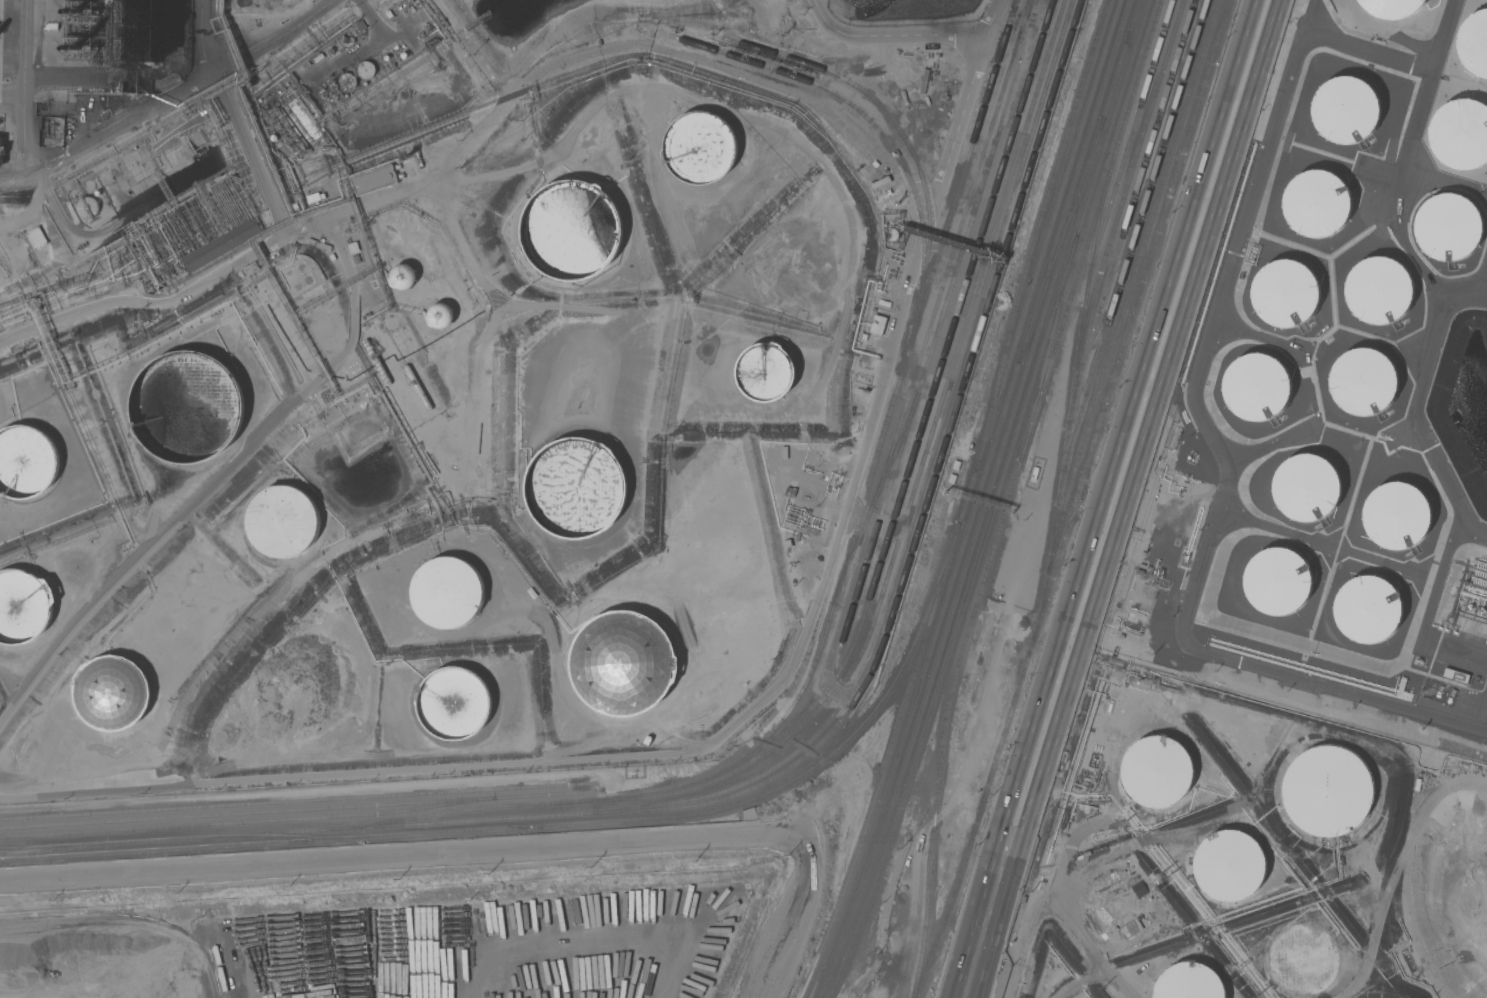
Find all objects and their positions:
railway: (1016, 2)
railway: (1029, 5)
building: (1390, 7)
building: (83, 11)
road: (881, 35)
road: (205, 39)
building: (1474, 43)
building: (84, 49)
building: (366, 70)
building: (346, 82)
road: (25, 86)
building: (328, 94)
road: (171, 98)
railway: (855, 108)
building: (1345, 111)
building: (1460, 135)
railway: (904, 137)
railway: (1129, 145)
building: (701, 148)
building: (0, 150)
road: (1405, 174)
railway: (1130, 177)
building: (374, 180)
road: (1447, 181)
building: (1316, 204)
railway: (1133, 205)
building: (86, 207)
railway: (1041, 220)
building: (1448, 228)
building: (572, 230)
building: (37, 238)
railway: (1134, 243)
railway: (1061, 244)
building: (221, 245)
railway: (955, 247)
building: (250, 269)
building: (403, 277)
railway: (1134, 277)
railway: (1034, 283)
railway: (1043, 284)
railway: (1053, 285)
railway: (1062, 287)
building: (1378, 290)
building: (1286, 294)
building: (442, 314)
railway: (940, 323)
building: (878, 324)
railway: (1050, 344)
building: (376, 362)
building: (765, 372)
building: (1362, 382)
railway: (946, 386)
building: (417, 387)
building: (1254, 387)
building: (185, 408)
railway: (1071, 415)
road: (1419, 427)
railway: (1098, 433)
road: (1120, 443)
road: (1145, 447)
building: (26, 462)
railway: (905, 486)
building: (576, 488)
railway: (924, 488)
building: (1305, 488)
railway: (878, 493)
railway: (1011, 493)
railway: (930, 494)
building: (1396, 516)
building: (283, 521)
building: (1277, 582)
building: (446, 591)
building: (24, 607)
building: (1366, 609)
road: (1431, 610)
road: (1185, 631)
building: (623, 663)
building: (1454, 676)
building: (303, 682)
building: (112, 693)
building: (455, 702)
road: (734, 721)
railway: (766, 738)
building: (1159, 772)
railway: (880, 784)
railway: (889, 785)
railway: (899, 786)
railway: (908, 787)
building: (1329, 792)
railway: (293, 802)
railway: (247, 813)
railway: (293, 819)
railway: (463, 821)
railway: (535, 827)
railway: (294, 837)
railway: (49, 851)
road: (491, 851)
building: (1227, 861)
building: (1115, 905)
building: (644, 916)
railway: (941, 932)
road: (979, 943)
building: (1300, 960)
building: (1188, 982)

